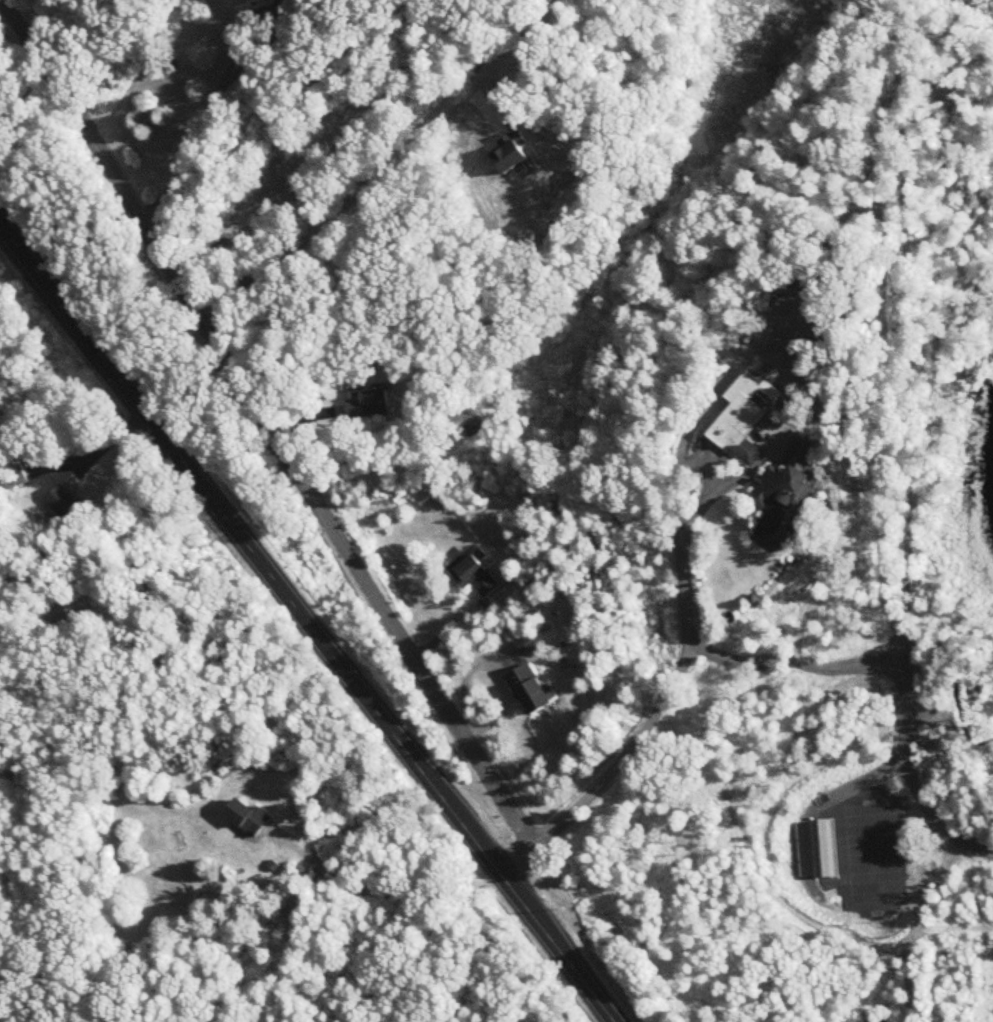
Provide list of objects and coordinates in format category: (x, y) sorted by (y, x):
building: (289, 8)
road: (465, 39)
road: (204, 120)
road: (385, 164)
building: (369, 404)
building: (746, 418)
road: (269, 422)
road: (105, 447)
building: (15, 478)
building: (787, 491)
building: (64, 503)
building: (475, 575)
building: (77, 609)
road: (306, 622)
building: (528, 645)
road: (670, 685)
road: (905, 688)
building: (530, 690)
building: (248, 818)
road: (934, 818)
road: (517, 861)

